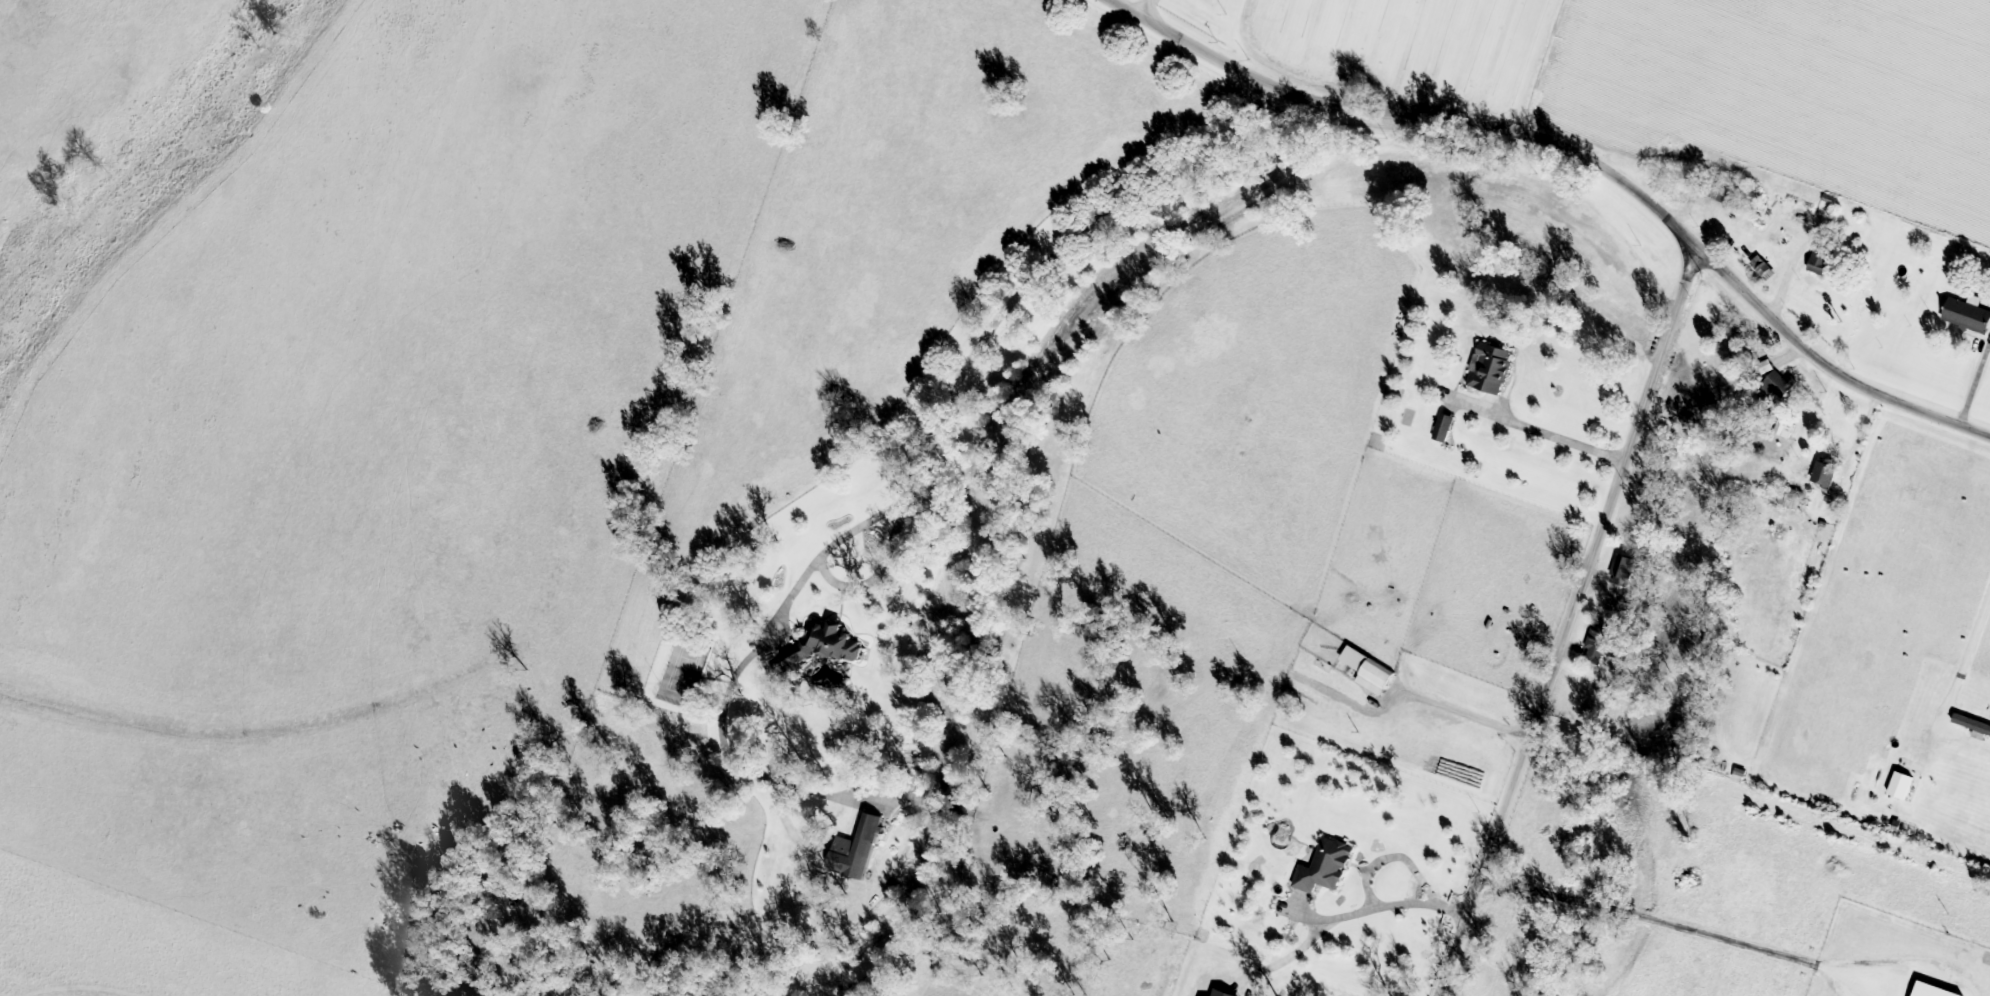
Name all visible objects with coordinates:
road: (1144, 12)
road: (1576, 153)
building: (1818, 261)
building: (1765, 268)
road: (1838, 269)
road: (1775, 302)
building: (1967, 315)
road: (973, 359)
building: (1489, 369)
building: (1778, 384)
road: (1976, 388)
building: (1443, 428)
building: (1785, 430)
road: (1540, 433)
building: (1824, 475)
building: (1793, 499)
building: (1621, 566)
road: (1572, 624)
building: (823, 647)
building: (1596, 656)
road: (1968, 666)
building: (1369, 671)
building: (1902, 786)
building: (855, 850)
building: (1324, 866)
road: (1382, 900)
building: (1931, 990)
building: (1220, 993)

